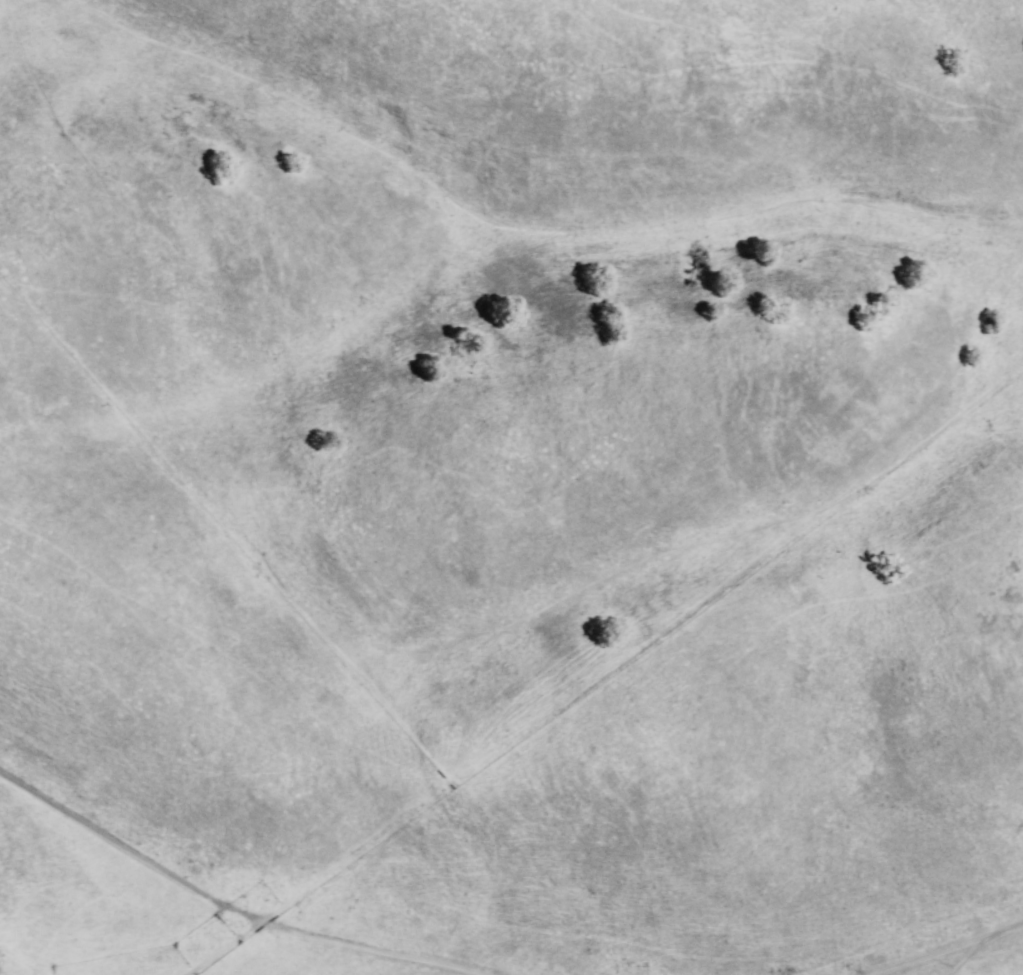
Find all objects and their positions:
road: (209, 908)
road: (954, 951)

